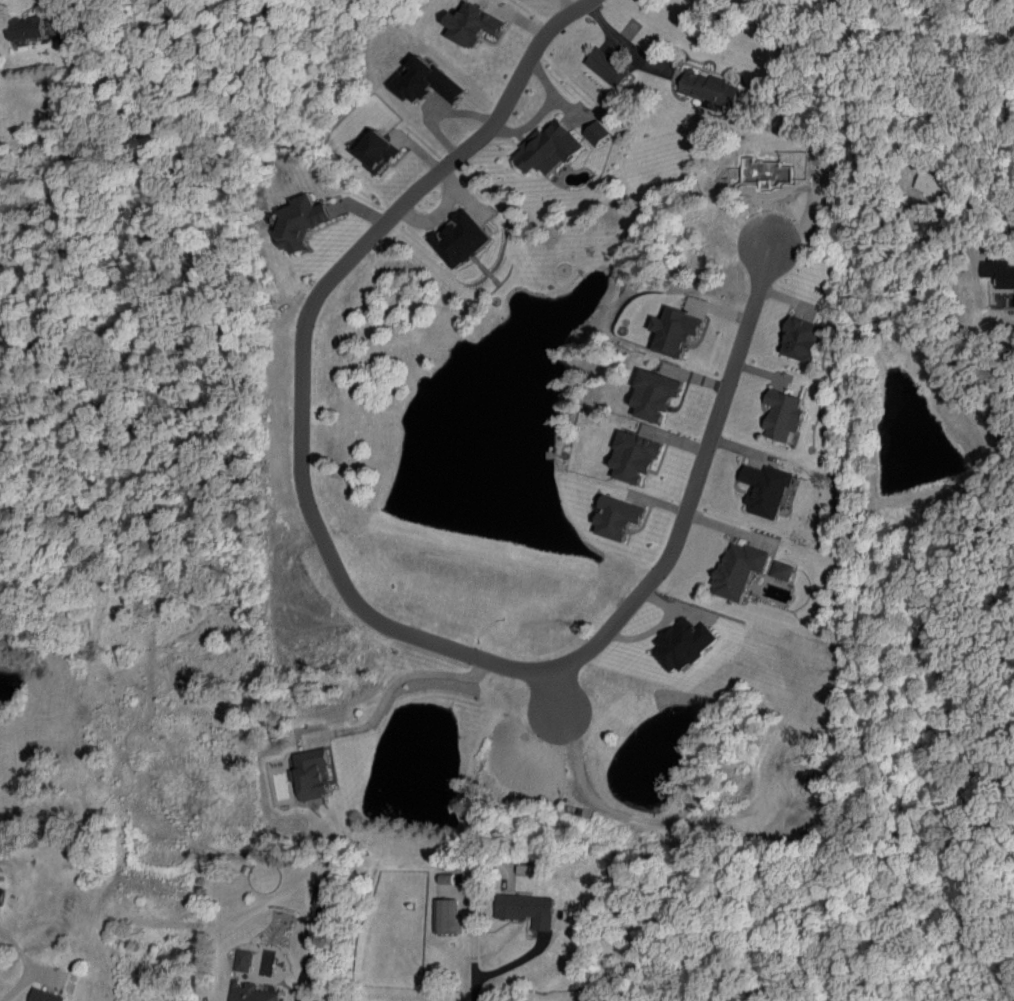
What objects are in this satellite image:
building: (175, 10)
road: (55, 12)
building: (473, 25)
building: (26, 27)
road: (622, 43)
building: (607, 67)
building: (426, 81)
building: (710, 88)
building: (597, 132)
building: (549, 148)
road: (861, 149)
building: (378, 151)
building: (933, 184)
building: (300, 221)
building: (460, 238)
building: (999, 273)
building: (675, 331)
building: (804, 338)
building: (655, 394)
building: (785, 416)
building: (634, 456)
building: (766, 489)
building: (617, 517)
building: (739, 569)
building: (782, 570)
road: (348, 594)
building: (683, 644)
road: (402, 683)
building: (312, 773)
building: (321, 894)
building: (1, 895)
building: (528, 909)
building: (446, 916)
building: (243, 960)
road: (471, 970)
road: (13, 985)
building: (252, 993)
building: (44, 995)

